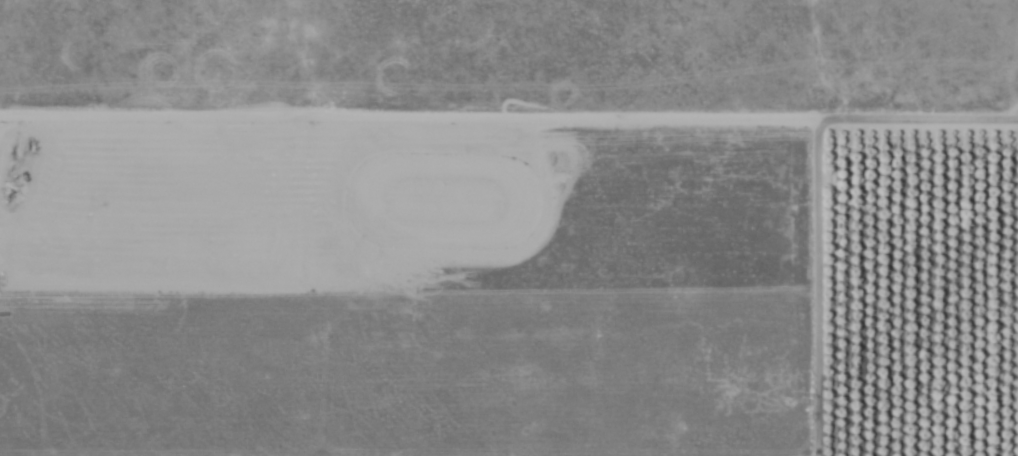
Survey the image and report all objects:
road: (509, 115)
crop: (509, 228)

